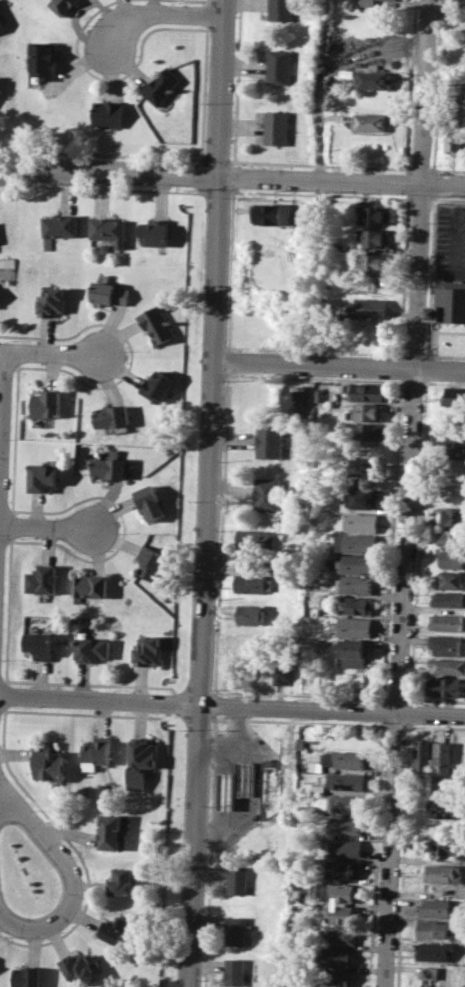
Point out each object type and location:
building: (387, 0)
building: (351, 3)
building: (365, 3)
building: (460, 3)
building: (63, 5)
building: (281, 9)
road: (161, 14)
road: (438, 15)
building: (1, 22)
building: (43, 60)
building: (277, 66)
building: (372, 80)
building: (163, 84)
road: (223, 87)
building: (108, 113)
building: (370, 122)
road: (319, 124)
building: (276, 127)
building: (456, 142)
road: (240, 161)
road: (418, 168)
road: (446, 169)
road: (125, 171)
road: (15, 172)
road: (342, 180)
building: (268, 213)
building: (374, 214)
building: (61, 225)
building: (110, 229)
building: (155, 231)
building: (374, 236)
parking lot: (450, 240)
road: (455, 242)
building: (371, 262)
road: (430, 262)
building: (111, 293)
building: (53, 301)
building: (450, 301)
building: (370, 308)
building: (158, 323)
building: (366, 335)
road: (445, 355)
road: (52, 356)
road: (339, 366)
road: (425, 368)
road: (411, 382)
road: (424, 382)
building: (158, 385)
building: (365, 390)
building: (318, 394)
building: (454, 396)
building: (296, 399)
building: (46, 403)
building: (367, 410)
building: (111, 416)
building: (363, 431)
building: (269, 440)
road: (3, 441)
building: (456, 448)
building: (360, 467)
building: (111, 468)
building: (43, 476)
road: (406, 493)
building: (267, 494)
building: (361, 497)
building: (150, 502)
building: (453, 516)
building: (360, 522)
road: (418, 522)
road: (46, 529)
road: (220, 533)
building: (453, 537)
building: (254, 538)
building: (356, 542)
building: (452, 558)
building: (253, 560)
building: (151, 561)
building: (357, 564)
building: (41, 579)
building: (452, 579)
road: (205, 581)
building: (252, 583)
building: (356, 584)
building: (90, 585)
building: (448, 598)
building: (357, 604)
building: (252, 613)
building: (448, 621)
building: (352, 625)
building: (38, 643)
building: (448, 644)
building: (91, 648)
building: (147, 650)
building: (353, 653)
building: (448, 666)
building: (283, 668)
building: (446, 686)
road: (397, 698)
road: (435, 699)
road: (232, 704)
road: (409, 712)
building: (300, 744)
building: (95, 750)
road: (216, 750)
building: (423, 758)
building: (444, 758)
building: (346, 759)
building: (141, 761)
building: (47, 762)
building: (245, 777)
gas station: (245, 777)
building: (346, 781)
road: (234, 784)
building: (268, 789)
building: (315, 789)
building: (226, 790)
gas station: (226, 790)
building: (346, 803)
building: (445, 808)
building: (305, 809)
building: (346, 825)
building: (109, 830)
building: (443, 842)
building: (344, 846)
road: (403, 854)
building: (343, 870)
building: (445, 873)
building: (237, 879)
building: (122, 881)
road: (72, 886)
building: (342, 892)
building: (436, 907)
building: (342, 913)
building: (114, 928)
building: (434, 928)
building: (235, 930)
building: (339, 934)
building: (435, 950)
building: (336, 957)
building: (77, 966)
building: (234, 971)
building: (429, 972)
building: (26, 977)
building: (336, 978)
building: (425, 985)

